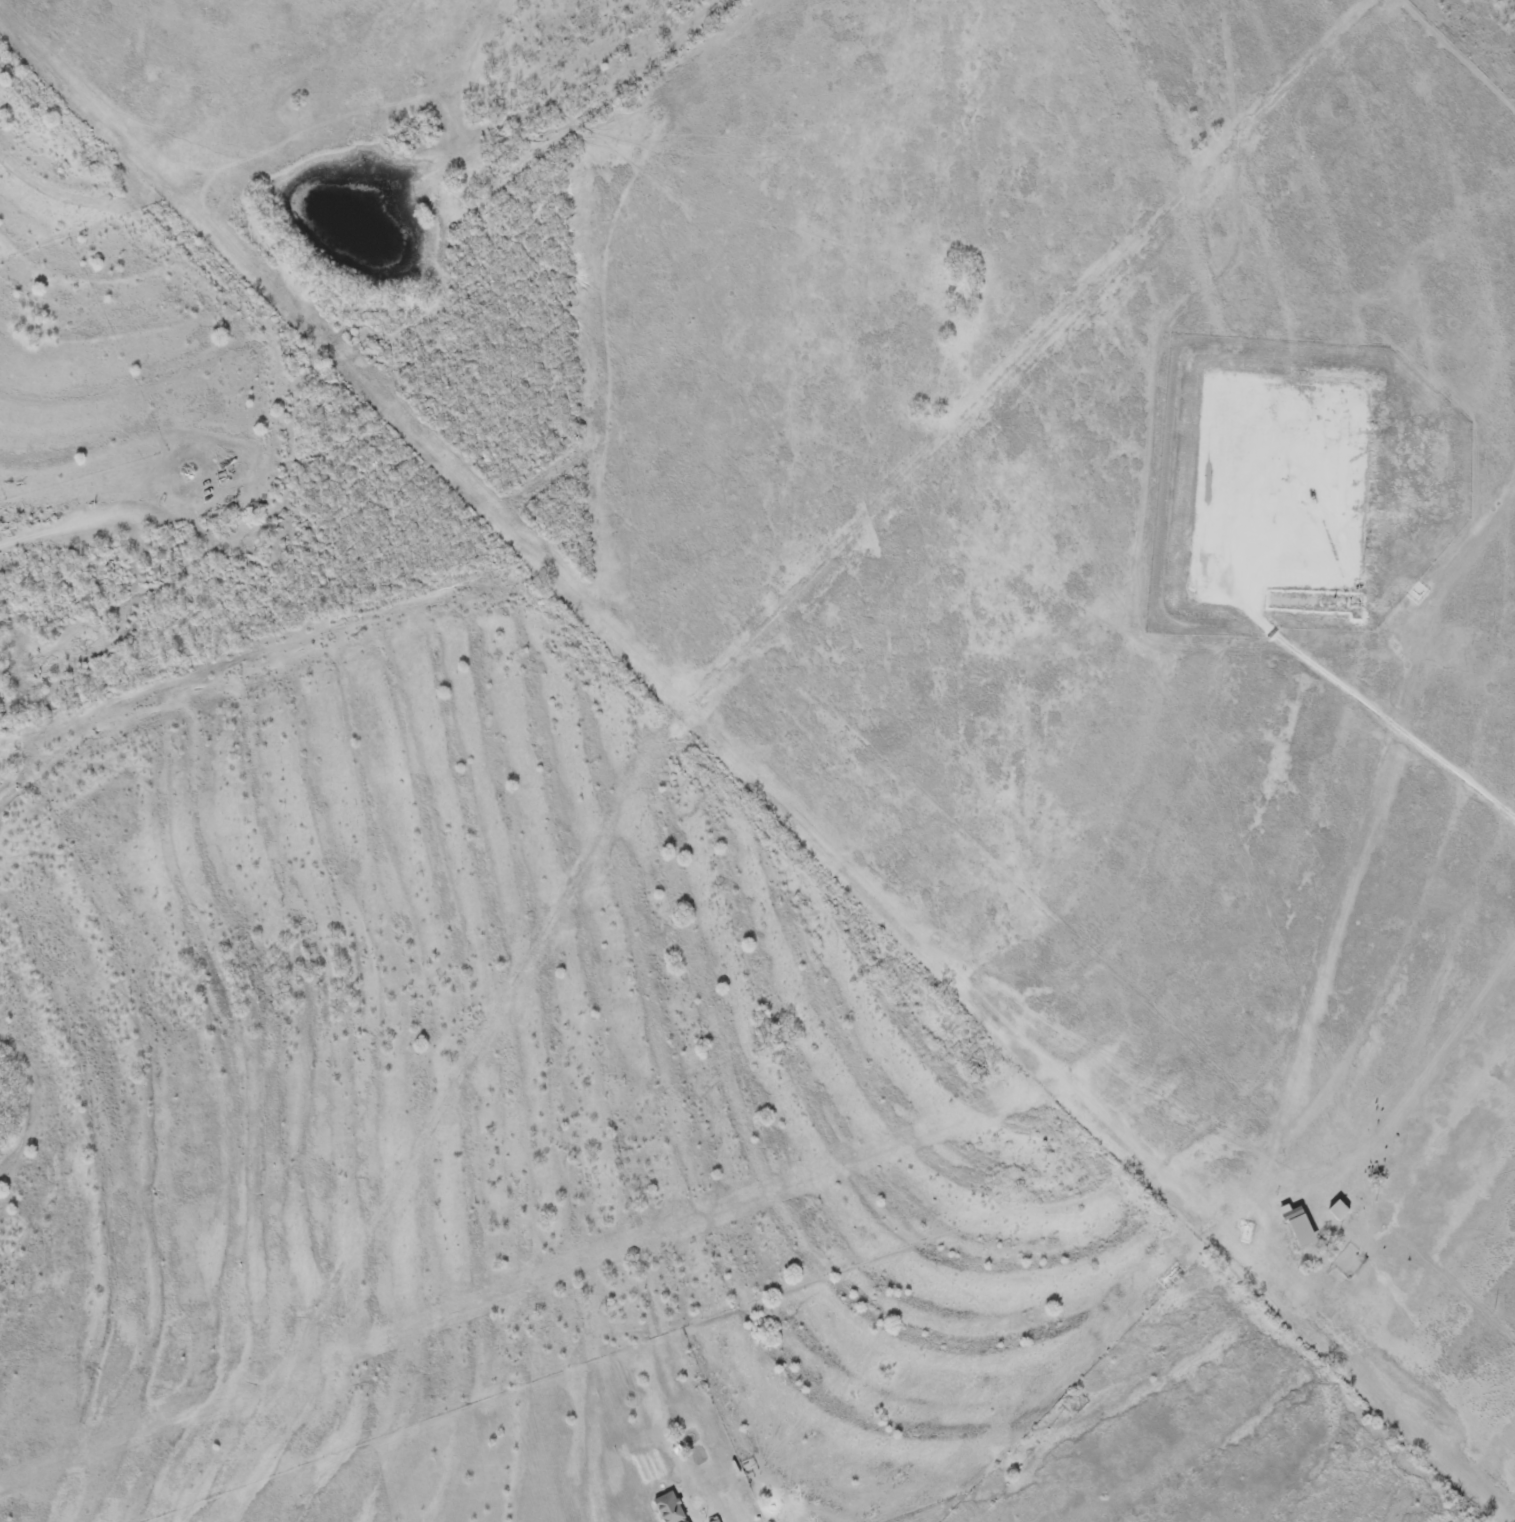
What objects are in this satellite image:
building: (1334, 1210)
building: (1297, 1230)

